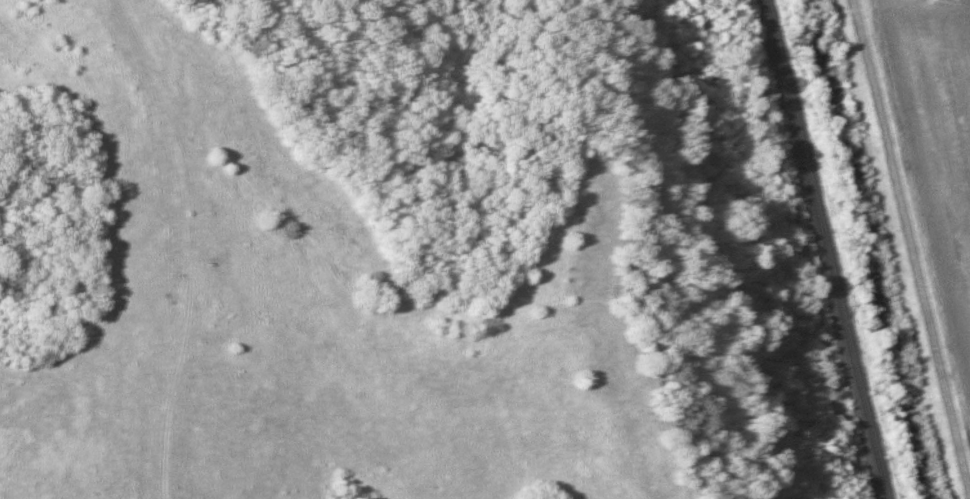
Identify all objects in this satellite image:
railway: (834, 249)
road: (371, 300)

